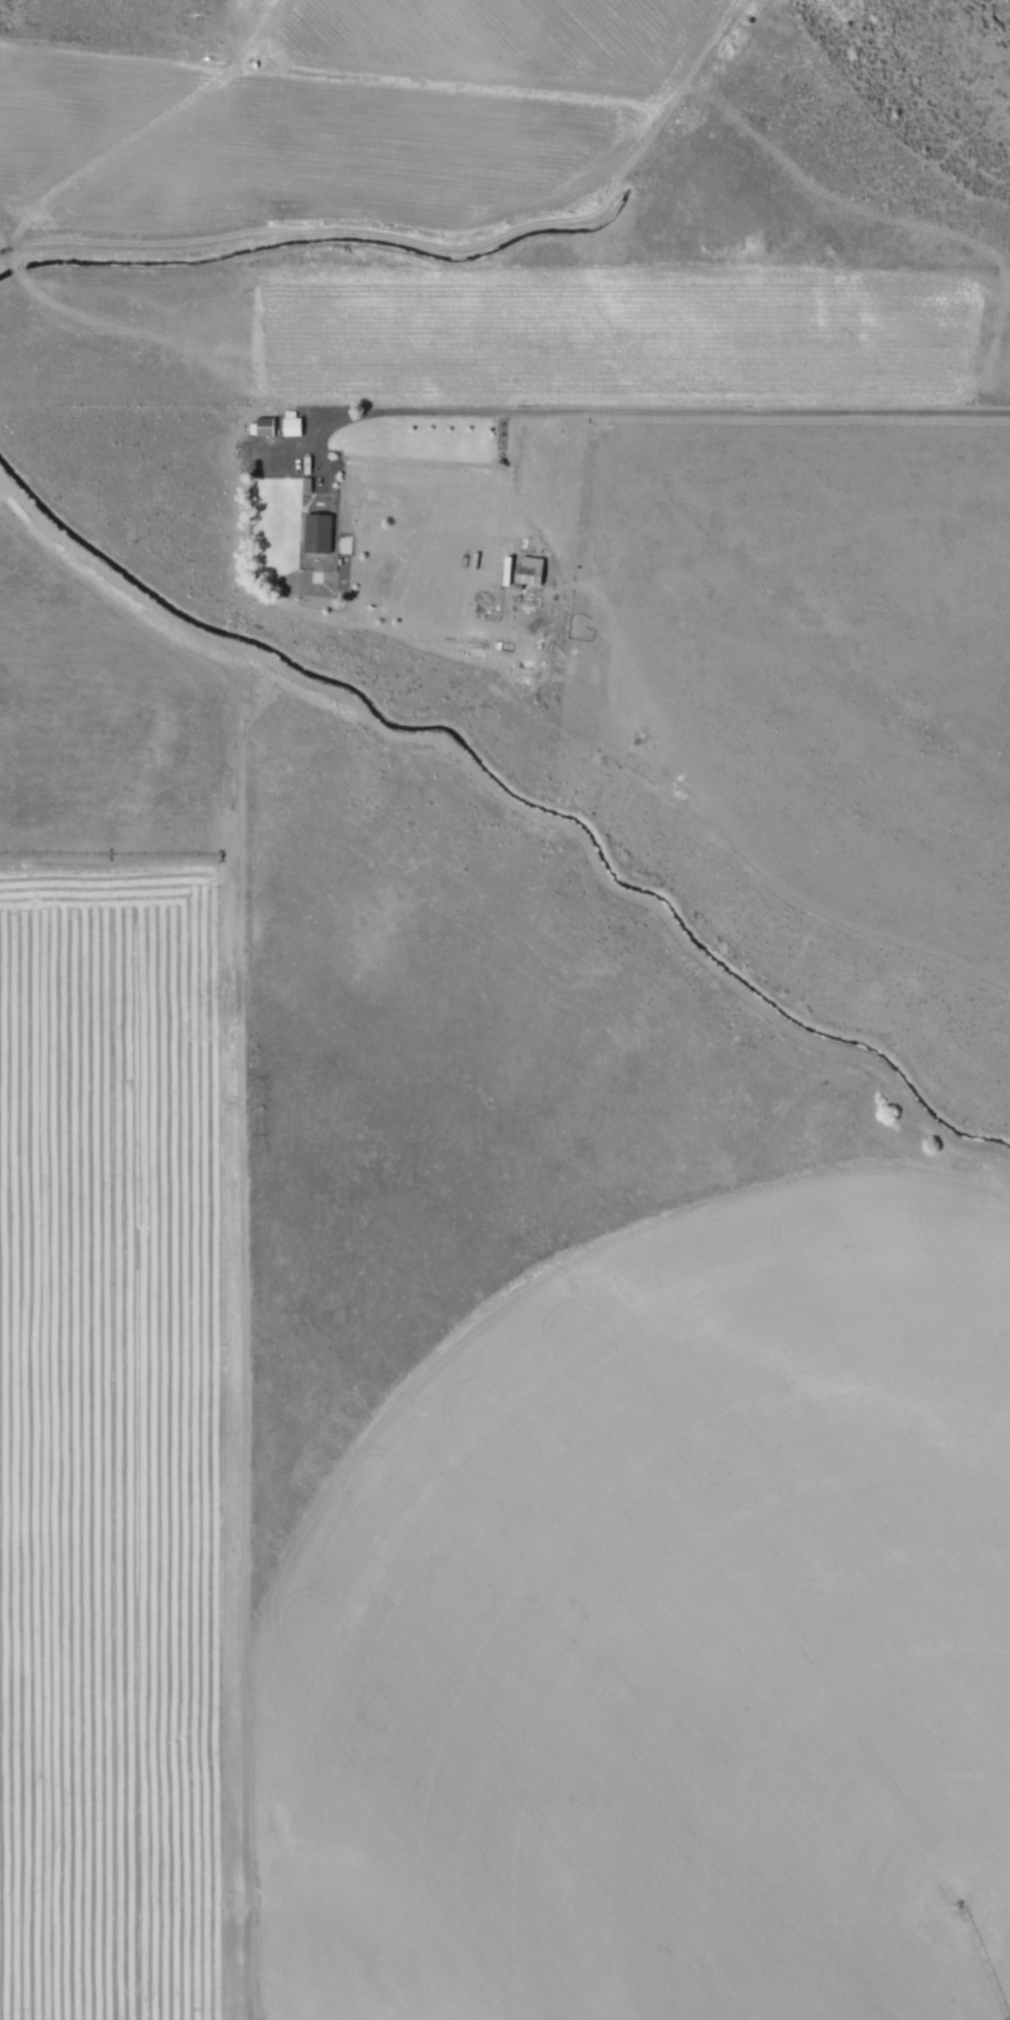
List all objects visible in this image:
road: (423, 230)
road: (644, 411)
building: (291, 423)
building: (261, 427)
building: (316, 533)
building: (528, 570)
crop: (484, 1158)

